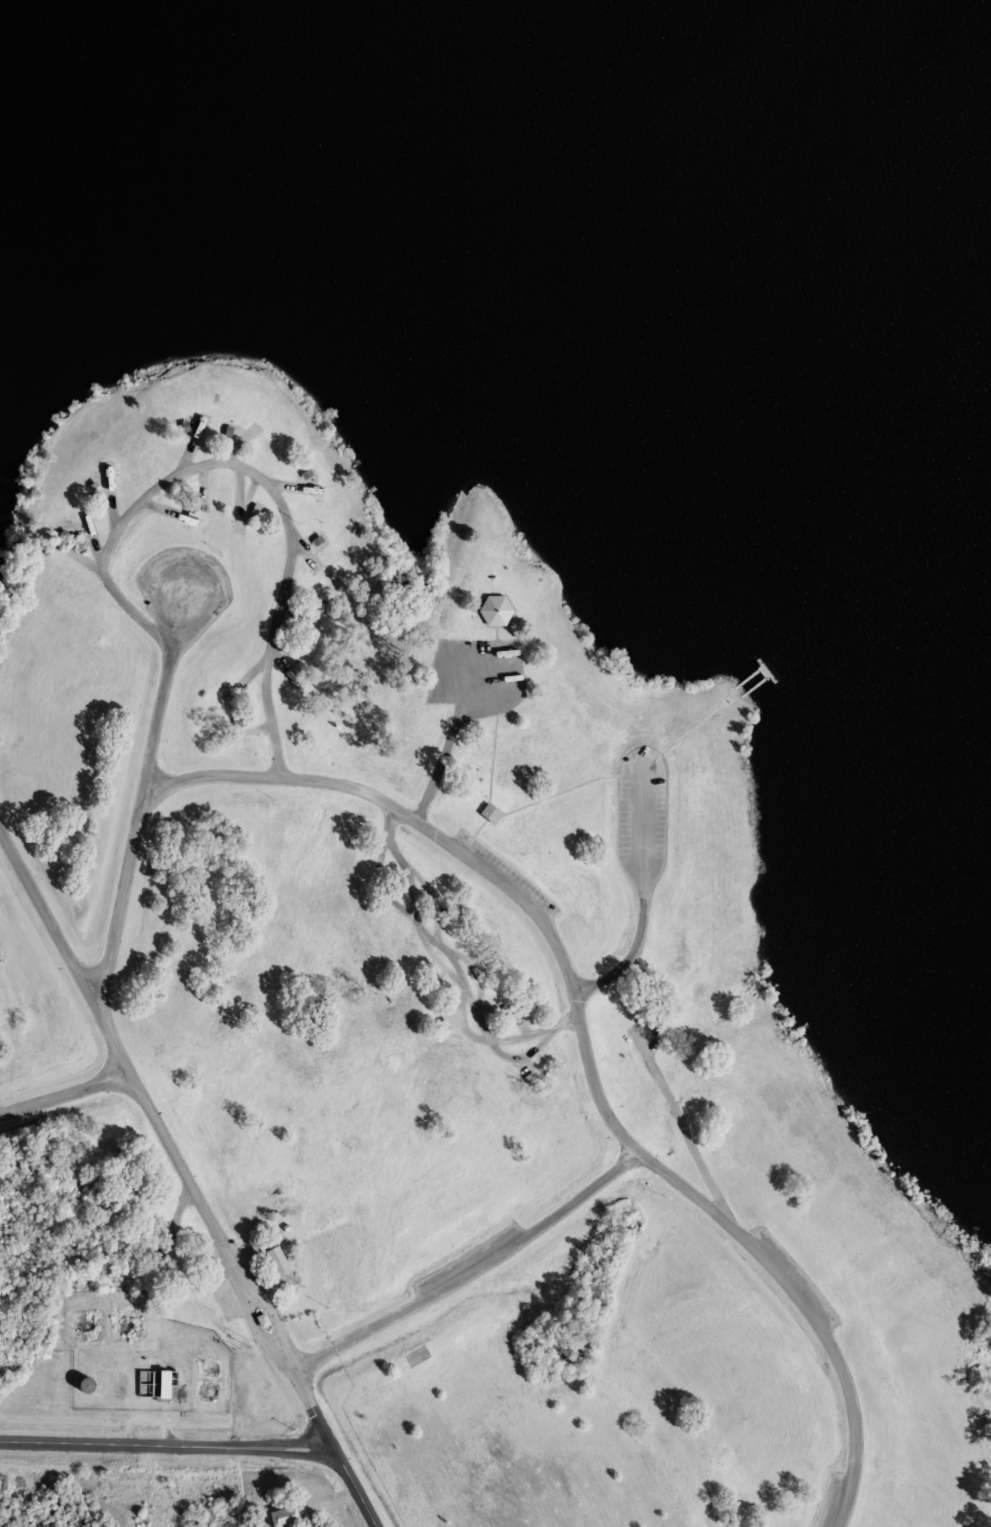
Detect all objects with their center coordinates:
road: (111, 539)
building: (491, 609)
road: (473, 683)
road: (431, 769)
building: (489, 813)
road: (511, 891)
road: (639, 894)
road: (64, 1093)
road: (165, 1145)
building: (274, 1260)
road: (468, 1271)
road: (774, 1271)
building: (416, 1355)
building: (153, 1384)
building: (82, 1385)
road: (167, 1453)
road: (353, 1490)
building: (280, 1515)

